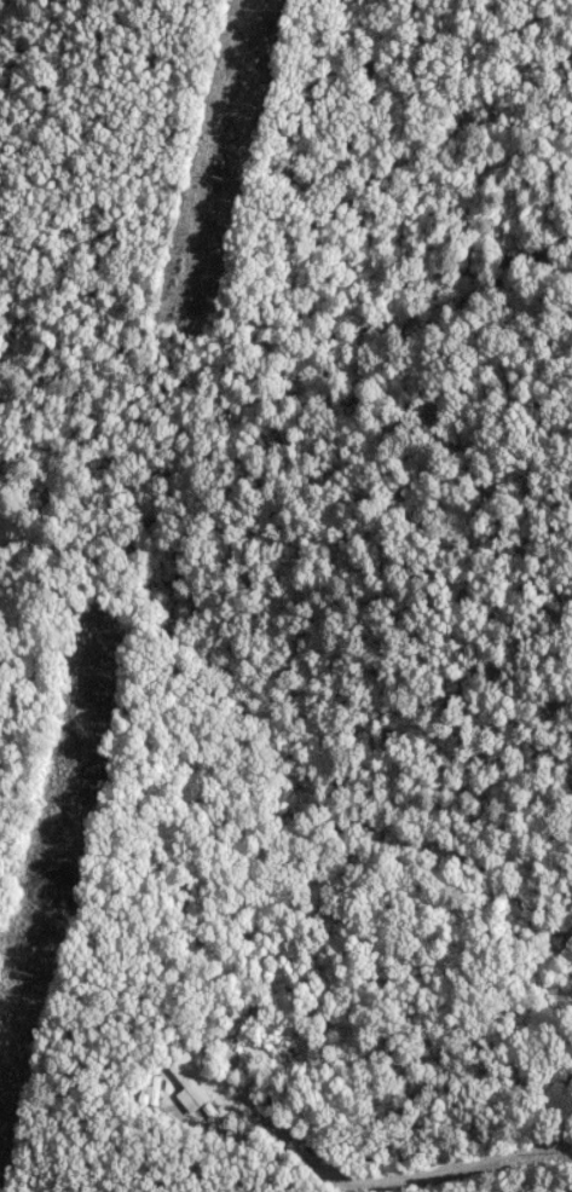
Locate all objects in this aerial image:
power tower: (214, 175)
power tower: (21, 973)
building: (184, 1081)
road: (417, 1171)

